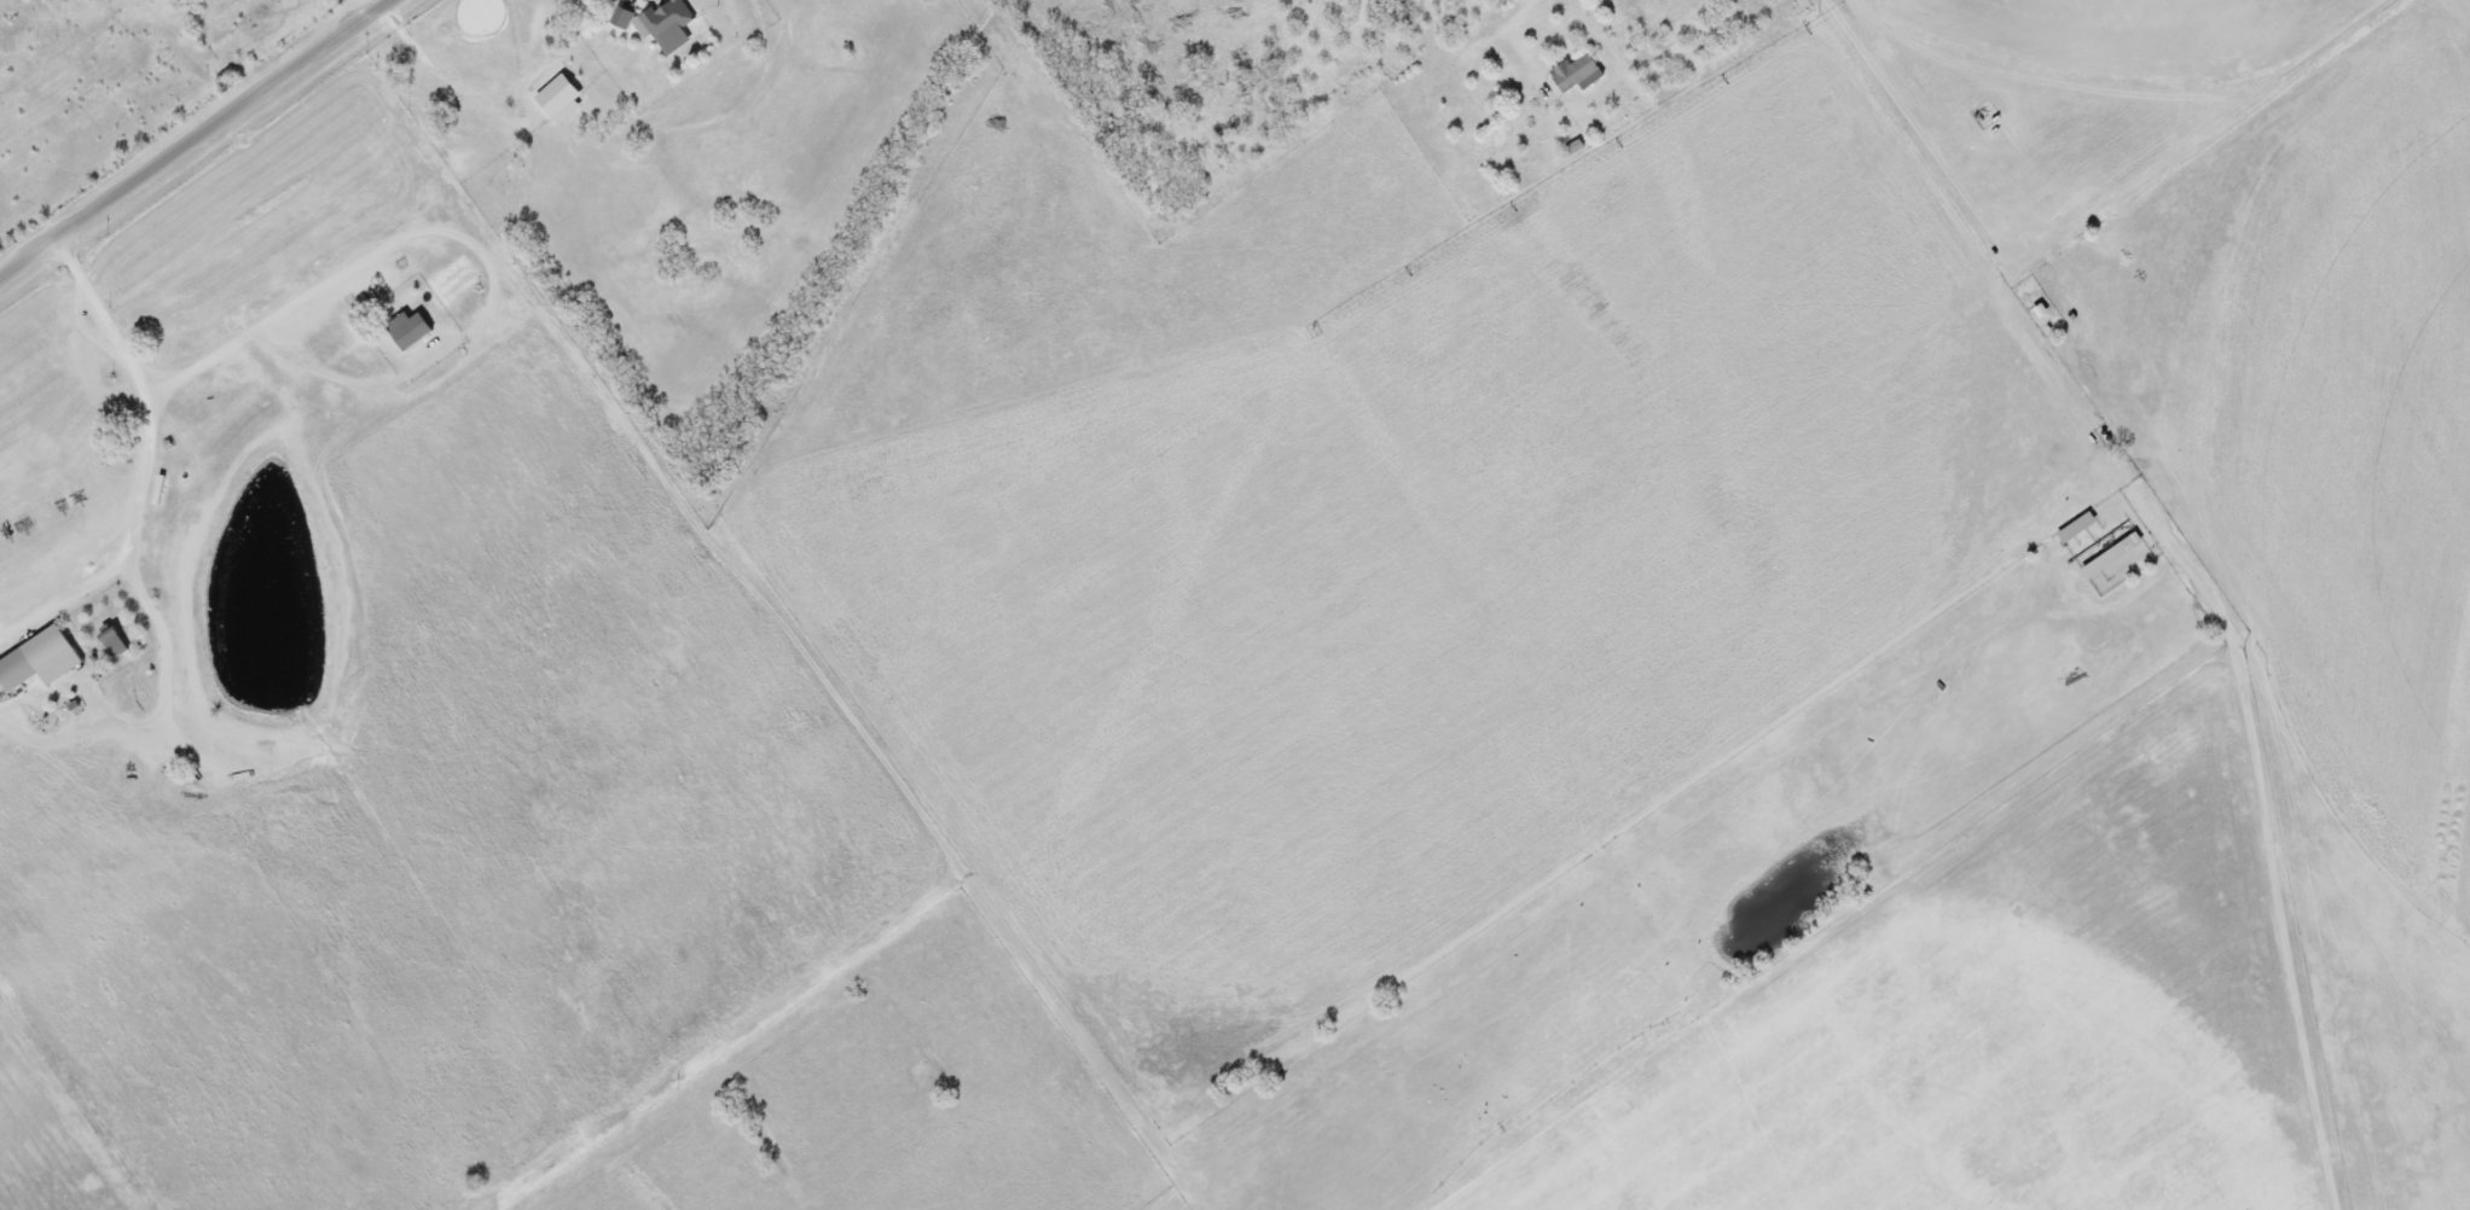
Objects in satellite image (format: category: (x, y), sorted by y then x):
road: (366, 10)
building: (624, 17)
building: (668, 25)
road: (1444, 57)
building: (1581, 72)
road: (201, 142)
building: (412, 328)
road: (408, 388)
building: (2071, 528)
road: (127, 537)
road: (2186, 559)
building: (117, 642)
building: (42, 661)

